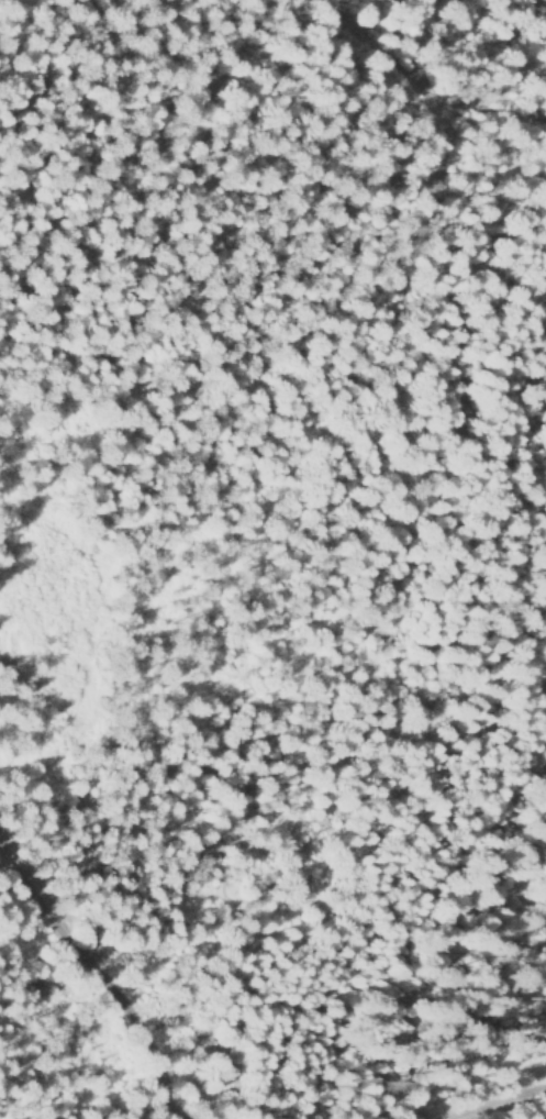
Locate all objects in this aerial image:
road: (423, 87)
road: (87, 982)
road: (492, 1101)

